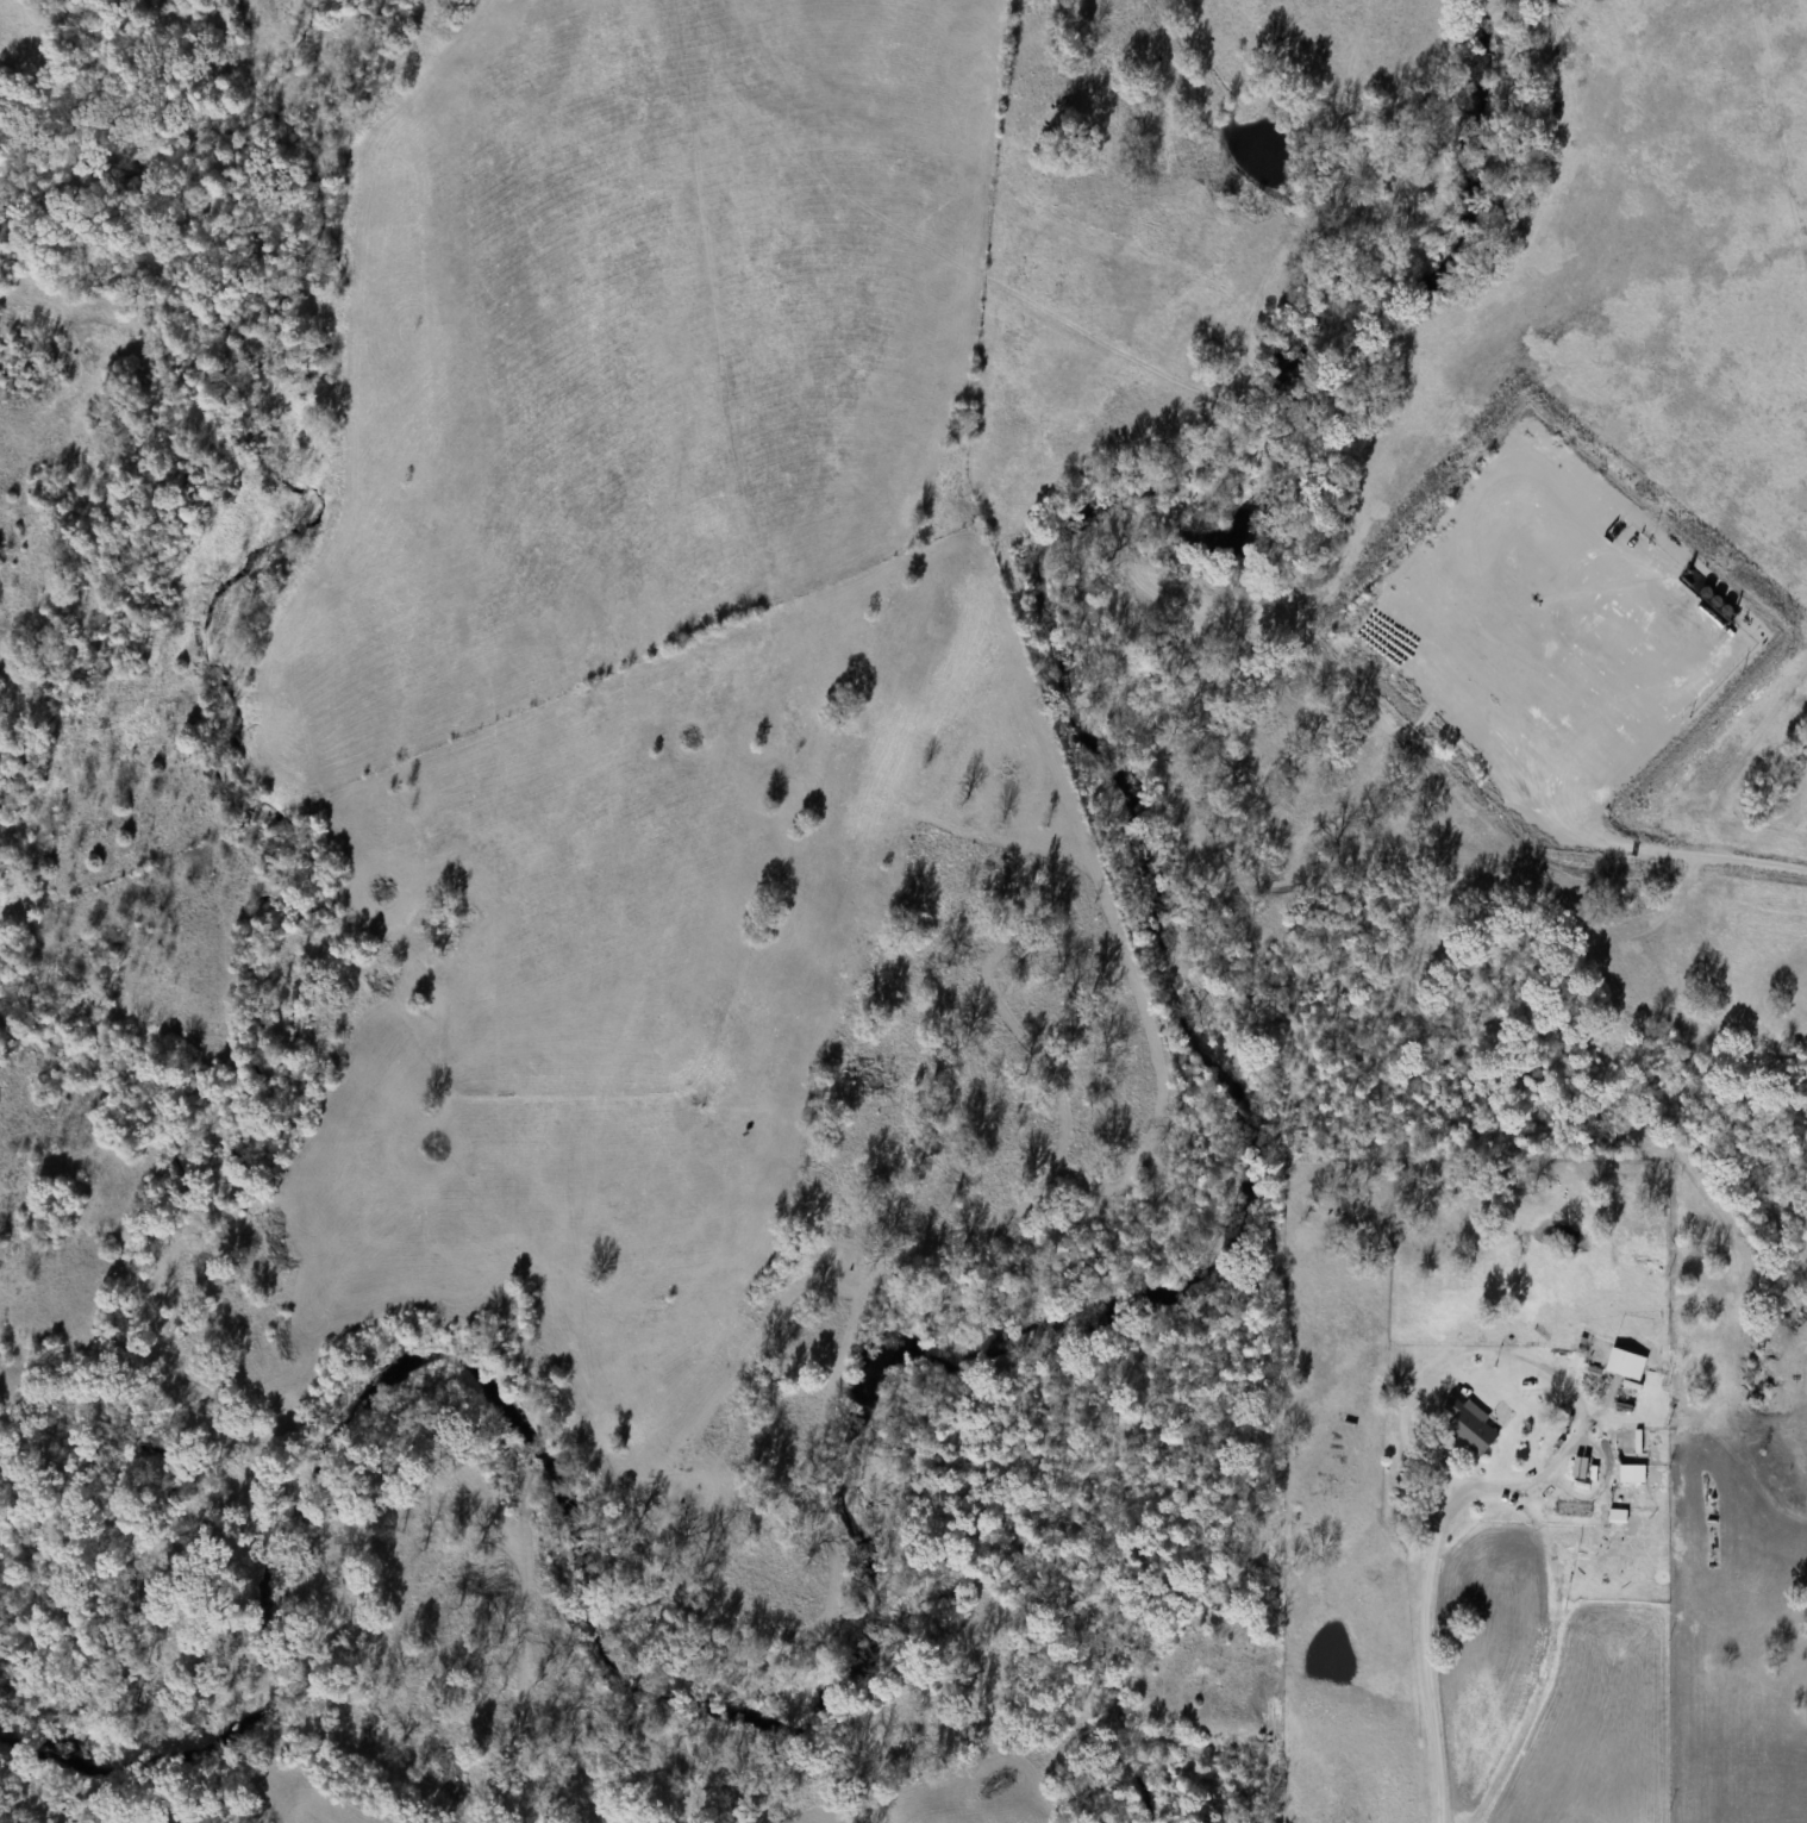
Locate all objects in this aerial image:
building: (1626, 1363)
building: (1469, 1425)
road: (1490, 1487)

